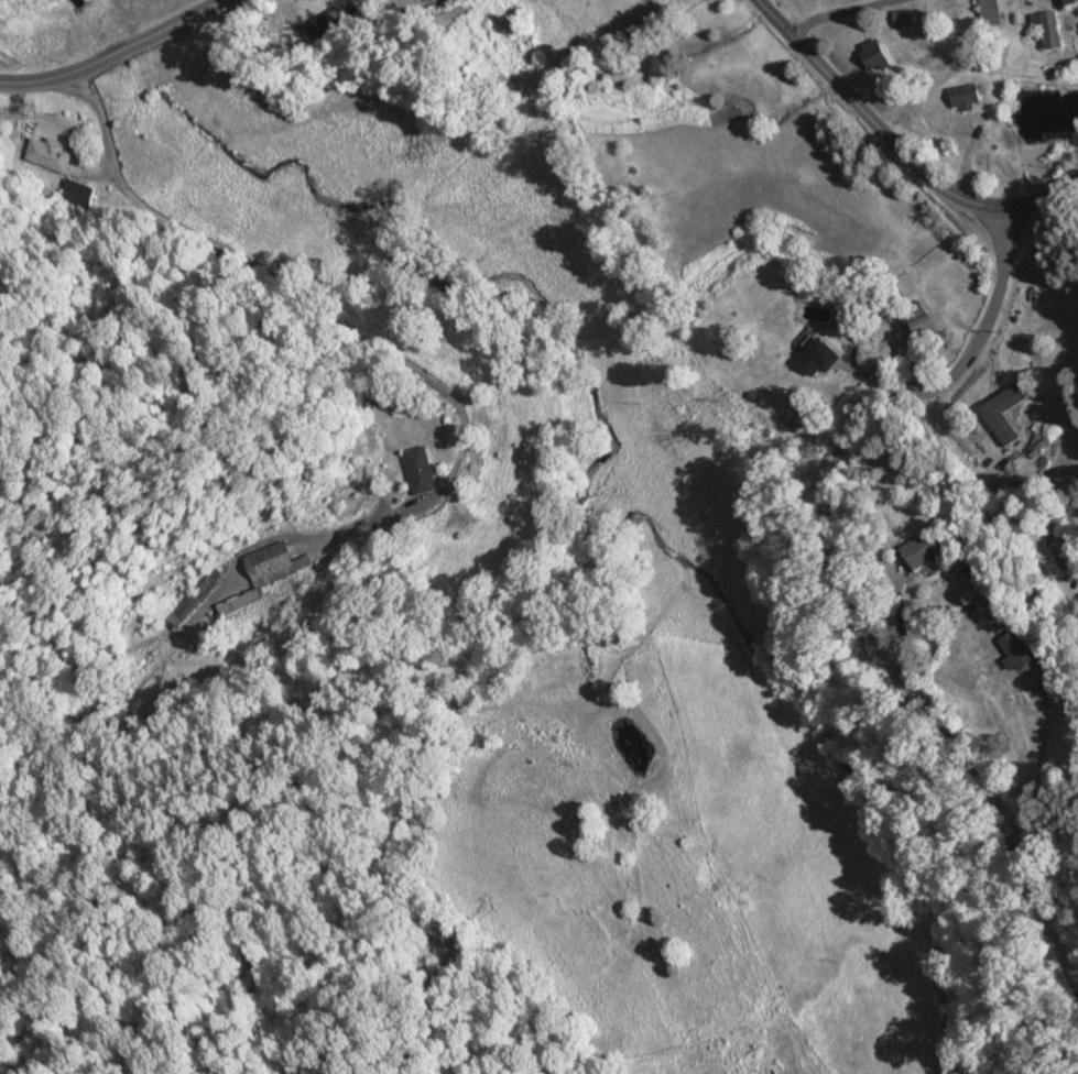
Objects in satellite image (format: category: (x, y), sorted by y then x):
building: (457, 0)
building: (1070, 1)
building: (991, 12)
road: (832, 13)
building: (902, 17)
building: (329, 23)
building: (1048, 28)
road: (129, 41)
building: (875, 54)
road: (28, 79)
building: (966, 95)
road: (899, 147)
building: (46, 152)
road: (276, 287)
building: (918, 319)
building: (817, 357)
building: (421, 470)
building: (923, 548)
building: (262, 573)
road: (841, 576)
building: (196, 596)
building: (1016, 650)
building: (562, 665)

